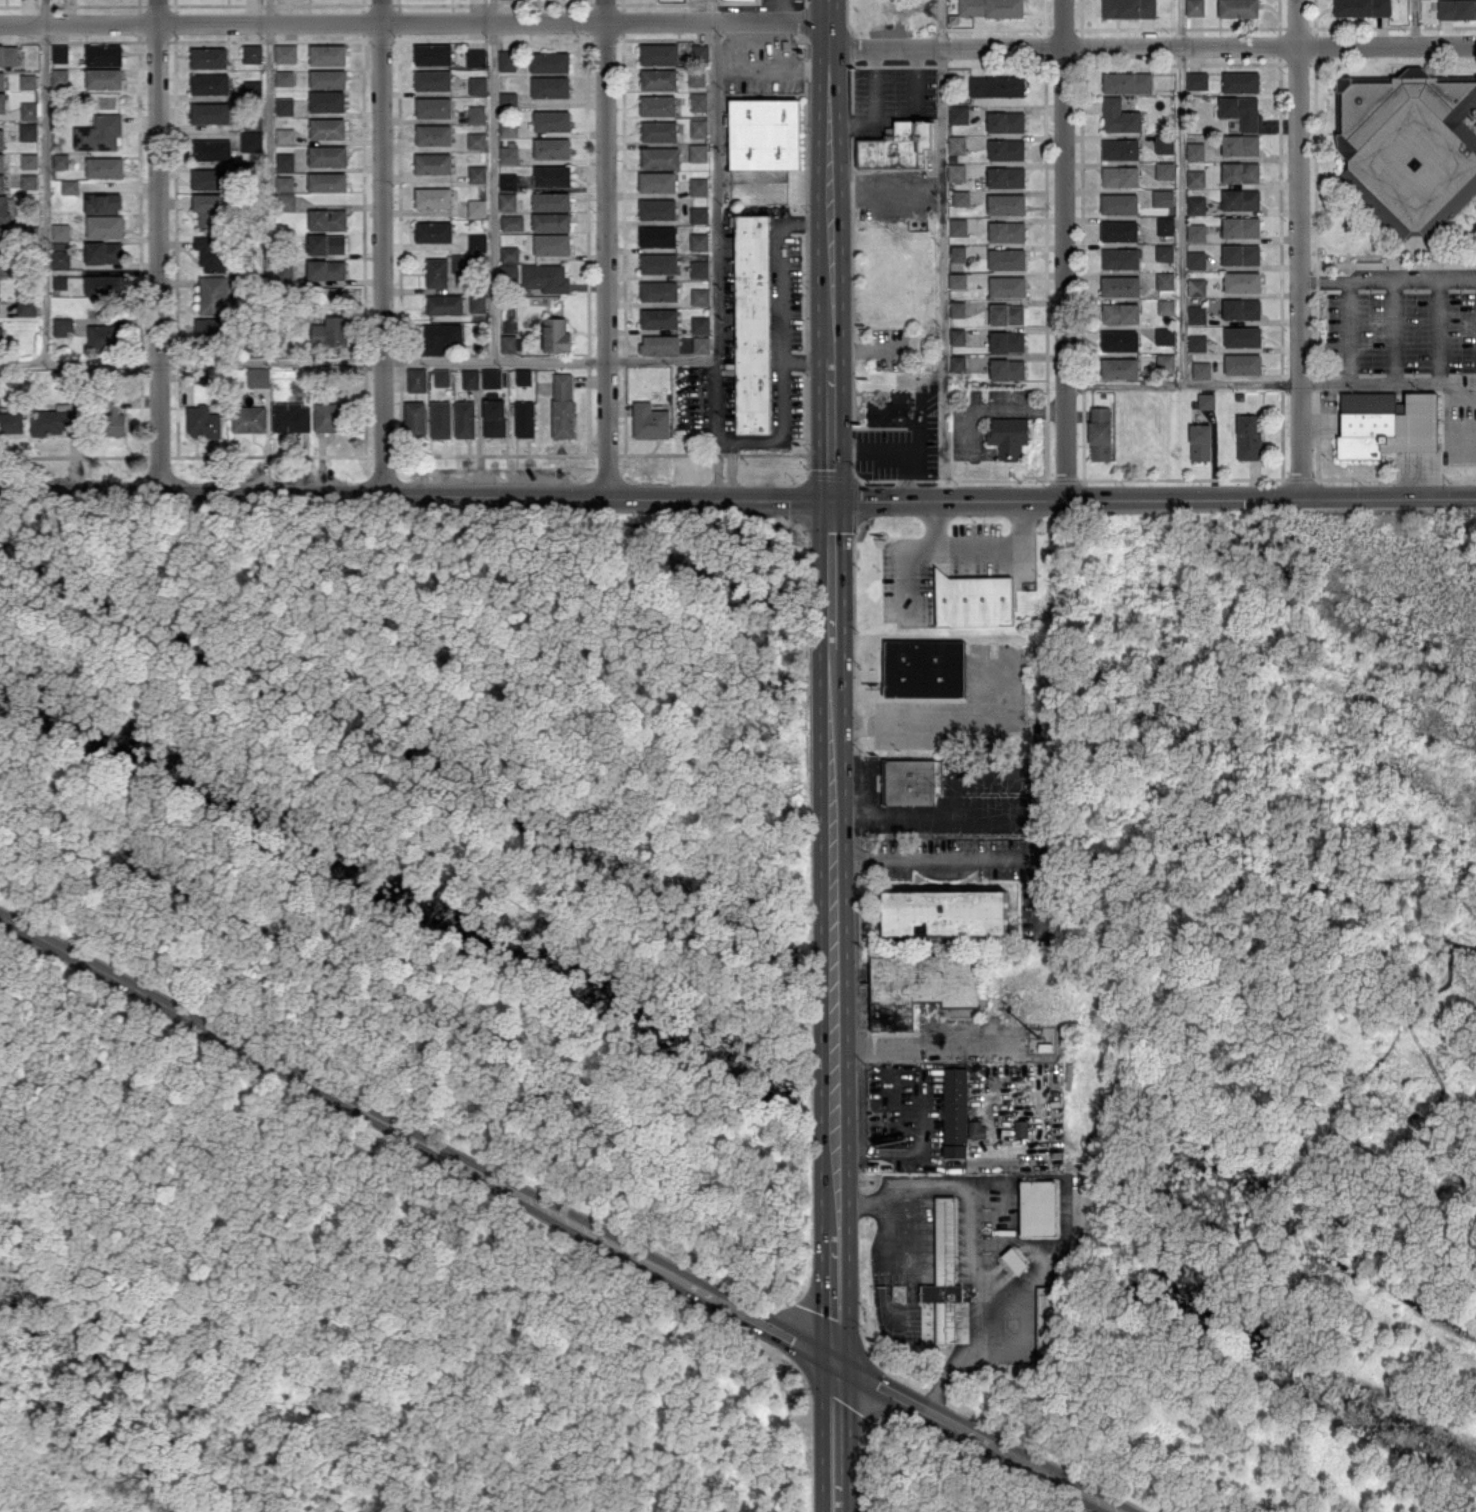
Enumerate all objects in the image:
road: (782, 1)
building: (991, 7)
building: (1195, 7)
building: (1362, 7)
building: (1128, 8)
building: (1238, 8)
building: (1457, 9)
road: (828, 10)
road: (414, 22)
road: (1416, 24)
road: (829, 35)
road: (1152, 49)
building: (700, 51)
building: (60, 52)
building: (251, 52)
building: (285, 53)
building: (659, 53)
building: (9, 54)
building: (104, 54)
building: (327, 54)
building: (432, 54)
building: (209, 57)
building: (476, 57)
road: (829, 59)
building: (506, 60)
building: (549, 61)
road: (777, 68)
building: (60, 76)
building: (104, 77)
building: (284, 77)
building: (328, 78)
building: (658, 78)
building: (696, 78)
building: (2, 79)
building: (433, 79)
building: (1197, 80)
building: (28, 81)
road: (914, 81)
building: (1241, 81)
building: (1127, 82)
building: (210, 83)
building: (477, 85)
building: (996, 85)
building: (550, 86)
building: (252, 87)
road: (829, 96)
building: (508, 99)
building: (327, 100)
building: (3, 101)
building: (698, 101)
building: (285, 105)
building: (658, 105)
building: (433, 107)
road: (875, 109)
building: (29, 110)
building: (1240, 110)
building: (211, 112)
building: (476, 112)
building: (958, 113)
building: (1119, 116)
building: (552, 119)
building: (1005, 121)
building: (508, 127)
building: (698, 127)
building: (327, 128)
building: (659, 130)
building: (28, 131)
building: (99, 132)
building: (764, 133)
building: (434, 134)
building: (285, 135)
building: (2, 138)
building: (476, 140)
building: (252, 141)
building: (1164, 142)
building: (956, 144)
building: (1240, 144)
building: (1408, 144)
building: (898, 145)
building: (552, 147)
building: (1006, 148)
building: (1120, 148)
building: (212, 149)
building: (1195, 150)
building: (509, 152)
building: (698, 152)
building: (327, 155)
building: (660, 157)
building: (29, 160)
building: (60, 160)
building: (285, 160)
building: (2, 162)
building: (433, 163)
building: (105, 166)
building: (1164, 169)
building: (956, 171)
building: (1240, 171)
building: (477, 173)
building: (552, 175)
building: (1120, 175)
building: (1005, 176)
building: (1195, 177)
building: (210, 178)
road: (270, 180)
building: (508, 180)
building: (30, 181)
road: (46, 181)
building: (327, 181)
building: (657, 181)
building: (2, 182)
building: (284, 182)
road: (494, 182)
building: (70, 186)
building: (698, 186)
road: (881, 190)
road: (1182, 193)
building: (433, 197)
building: (961, 197)
building: (1162, 197)
building: (1241, 199)
building: (551, 200)
building: (287, 201)
building: (507, 201)
building: (103, 202)
building: (1006, 203)
building: (1119, 203)
building: (1196, 204)
building: (4, 208)
building: (476, 208)
building: (657, 208)
building: (209, 210)
building: (699, 214)
building: (327, 219)
building: (551, 221)
building: (512, 222)
building: (105, 225)
building: (1165, 225)
building: (957, 226)
building: (1241, 226)
building: (1119, 230)
building: (61, 231)
building: (433, 231)
building: (1006, 231)
building: (1196, 232)
building: (657, 235)
road: (830, 238)
building: (3, 239)
building: (699, 241)
building: (326, 243)
building: (477, 243)
building: (552, 244)
road: (158, 245)
road: (381, 246)
road: (607, 249)
road: (1297, 249)
road: (718, 250)
road: (945, 250)
building: (104, 251)
road: (1063, 251)
building: (212, 252)
building: (958, 252)
building: (1164, 252)
building: (509, 253)
building: (1241, 253)
building: (1120, 257)
building: (60, 258)
building: (1006, 258)
building: (1196, 259)
building: (460, 262)
building: (658, 263)
building: (6, 264)
building: (699, 268)
building: (326, 269)
building: (284, 271)
building: (437, 272)
building: (509, 272)
building: (546, 277)
road: (1387, 278)
building: (1165, 279)
building: (957, 280)
building: (60, 281)
building: (1242, 281)
building: (104, 284)
building: (1120, 285)
building: (1007, 286)
building: (1196, 286)
building: (659, 290)
building: (214, 294)
building: (700, 296)
building: (477, 302)
road: (776, 302)
building: (444, 304)
building: (27, 305)
building: (1166, 306)
building: (957, 308)
building: (1241, 308)
building: (1120, 312)
building: (1006, 313)
building: (1196, 313)
building: (659, 317)
building: (700, 323)
building: (752, 323)
parking lot: (1412, 324)
building: (62, 326)
building: (210, 327)
building: (332, 331)
road: (1393, 331)
road: (1437, 331)
road: (1347, 332)
building: (556, 334)
building: (105, 335)
building: (1164, 335)
building: (1243, 335)
building: (440, 336)
building: (957, 336)
building: (1, 340)
building: (1120, 340)
building: (1007, 341)
building: (1197, 342)
building: (508, 343)
building: (701, 343)
building: (660, 344)
road: (872, 347)
road: (804, 360)
road: (304, 363)
building: (957, 363)
building: (1165, 363)
building: (1242, 363)
road: (680, 365)
building: (1119, 367)
building: (1007, 368)
building: (1201, 369)
building: (258, 376)
building: (442, 376)
building: (523, 376)
building: (491, 377)
building: (470, 378)
building: (417, 379)
road: (1367, 385)
road: (1180, 387)
road: (1454, 393)
building: (1206, 400)
building: (563, 405)
road: (984, 405)
building: (883, 408)
building: (291, 416)
building: (329, 416)
building: (495, 417)
building: (249, 418)
building: (415, 418)
building: (525, 418)
building: (115, 419)
building: (441, 419)
building: (465, 420)
building: (650, 420)
building: (12, 421)
building: (54, 421)
building: (203, 421)
building: (1385, 424)
road: (832, 428)
building: (1100, 433)
building: (1008, 436)
building: (1248, 437)
road: (1462, 440)
road: (749, 441)
building: (1200, 441)
road: (905, 452)
road: (903, 477)
road: (417, 493)
road: (1154, 501)
traffic signals: (834, 503)
road: (996, 545)
road: (905, 553)
road: (834, 573)
building: (974, 599)
building: (924, 668)
road: (944, 723)
building: (909, 781)
road: (995, 816)
road: (975, 857)
building: (945, 911)
road: (835, 938)
road: (926, 1041)
building: (954, 1111)
building: (1020, 1127)
building: (976, 1128)
road: (1016, 1176)
building: (1037, 1207)
road: (559, 1214)
road: (968, 1249)
road: (1058, 1249)
building: (946, 1278)
road: (882, 1281)
road: (836, 1299)
road: (816, 1312)
road: (945, 1316)
road: (972, 1316)
road: (220, 1318)
building: (1044, 1319)
traffic signals: (837, 1364)
road: (860, 1414)
road: (837, 1426)
road: (146, 1457)
road: (864, 1481)
road: (838, 1500)

